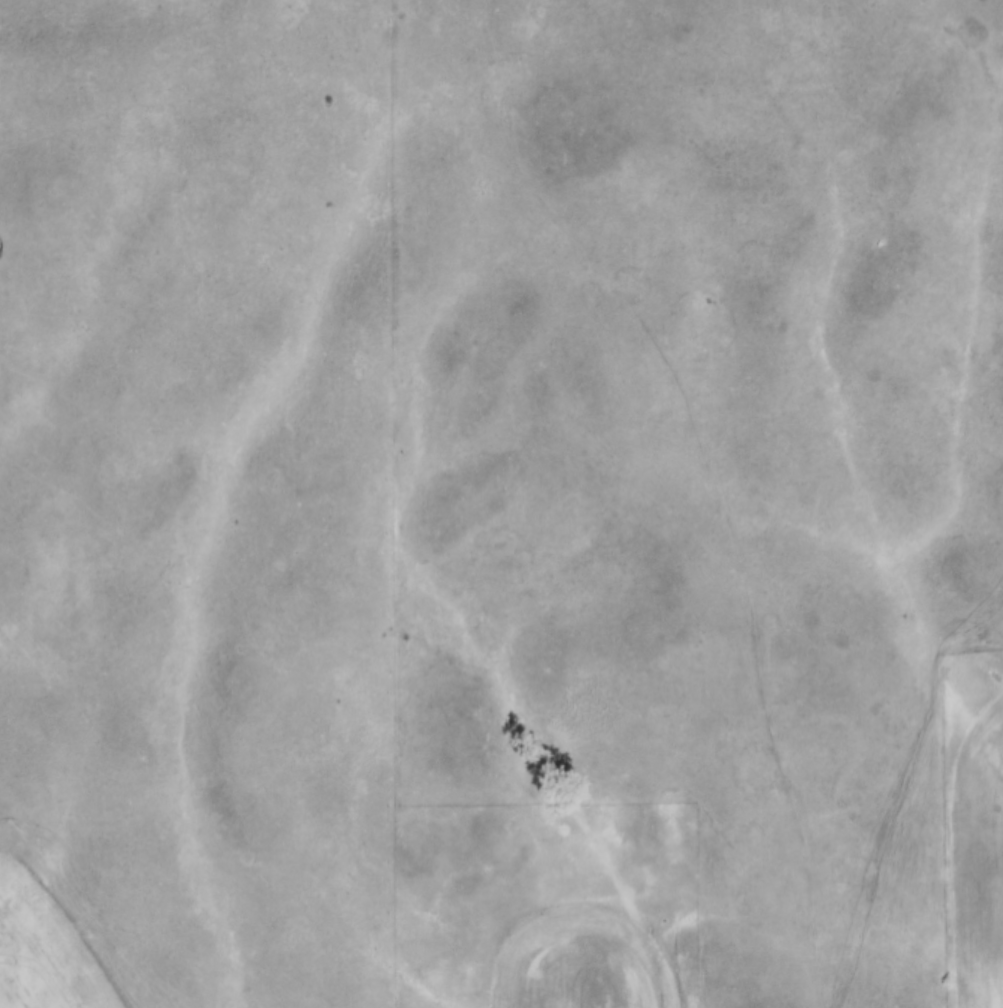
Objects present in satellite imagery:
crop: (46, 946)

